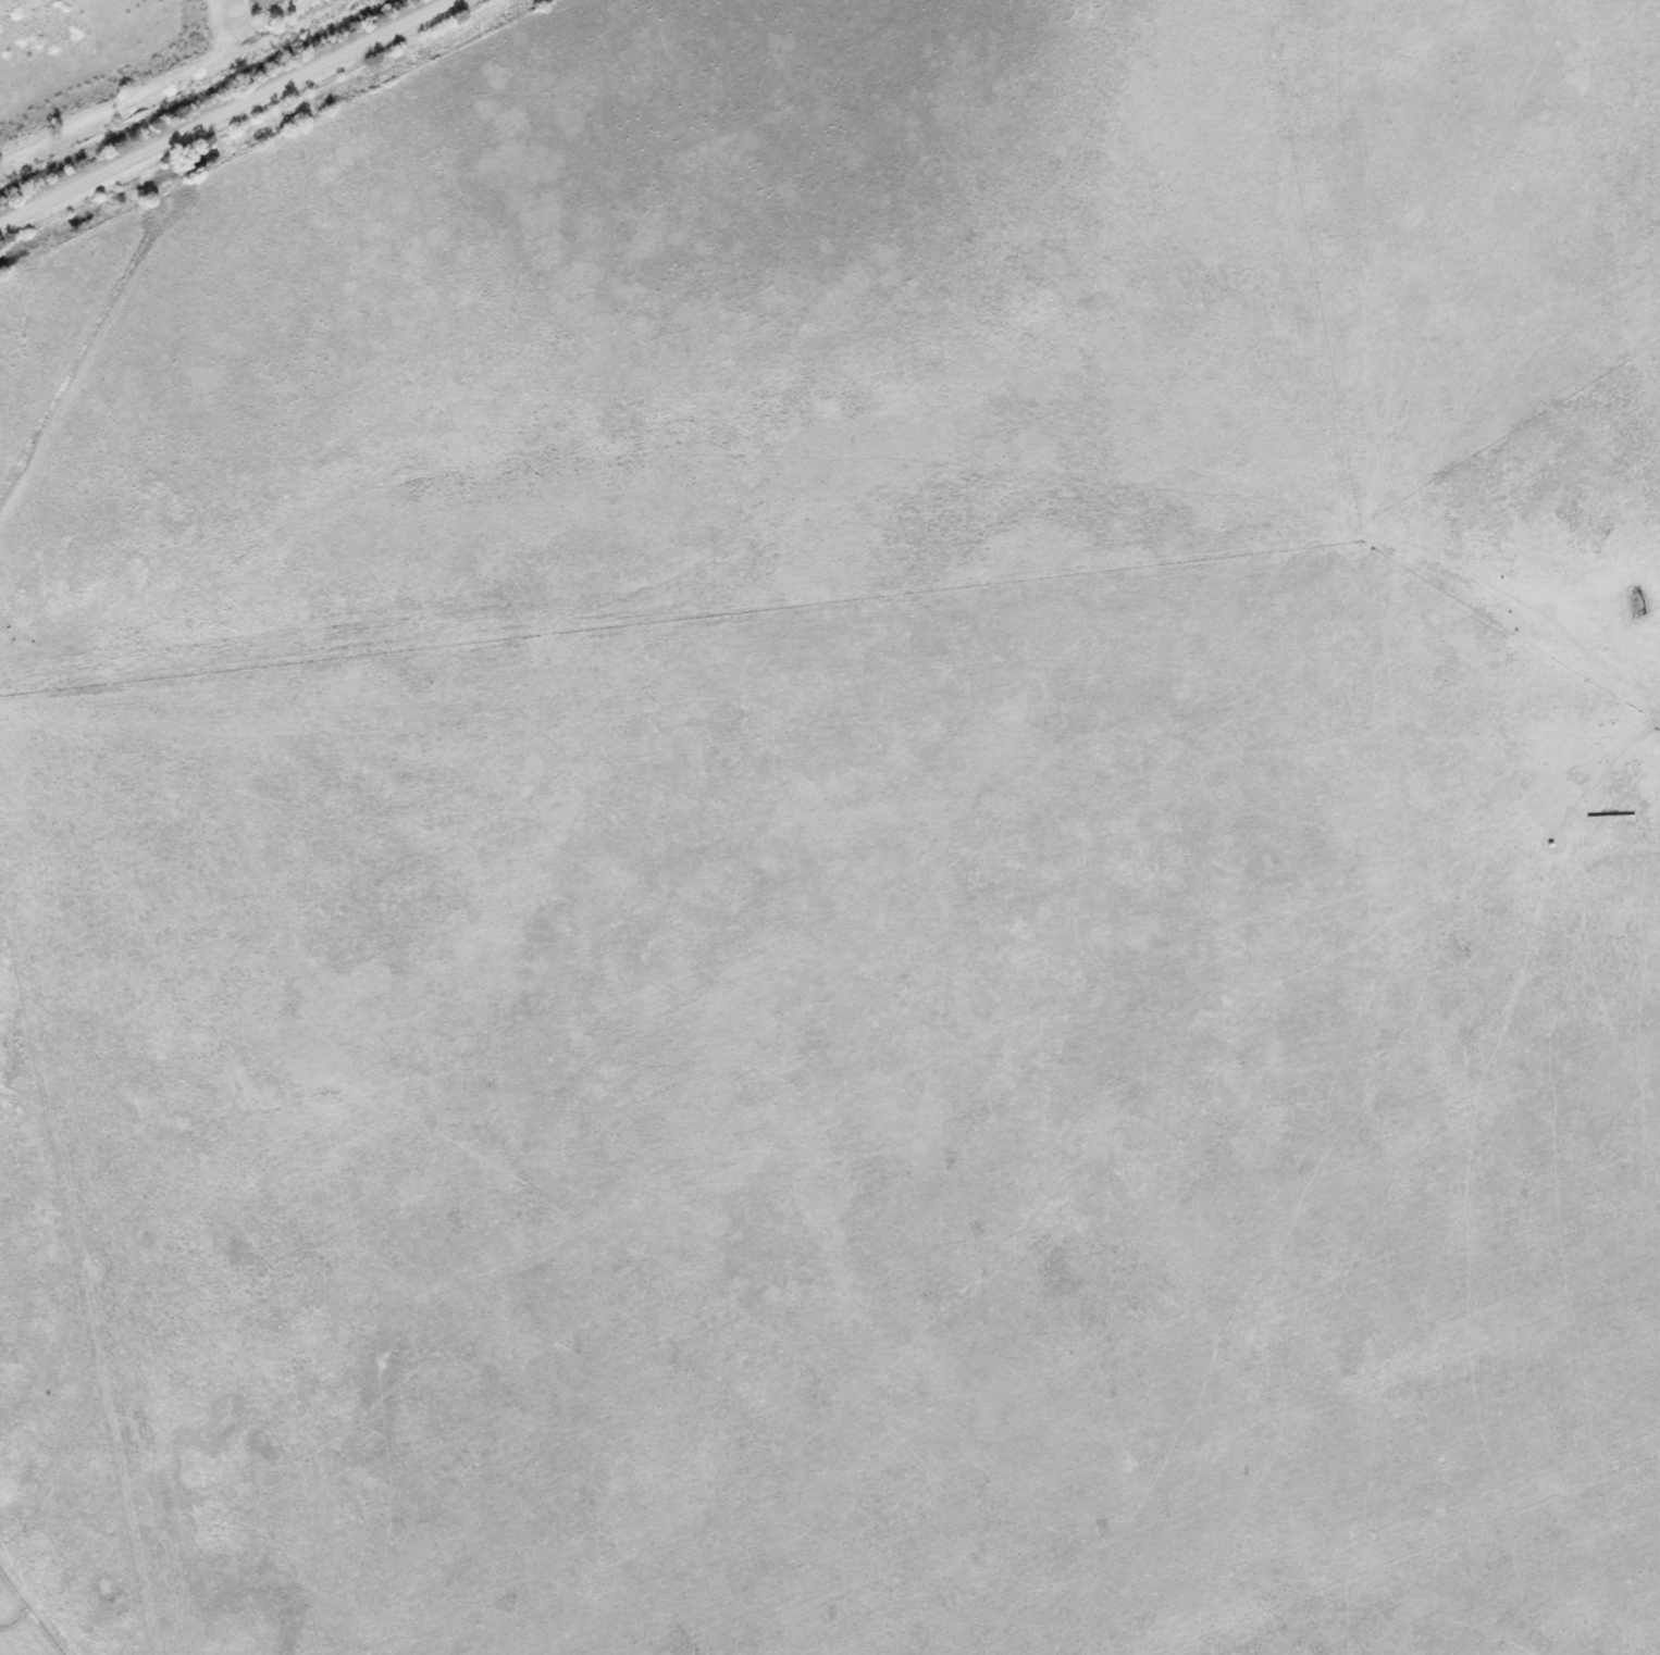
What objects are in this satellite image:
road: (222, 110)

